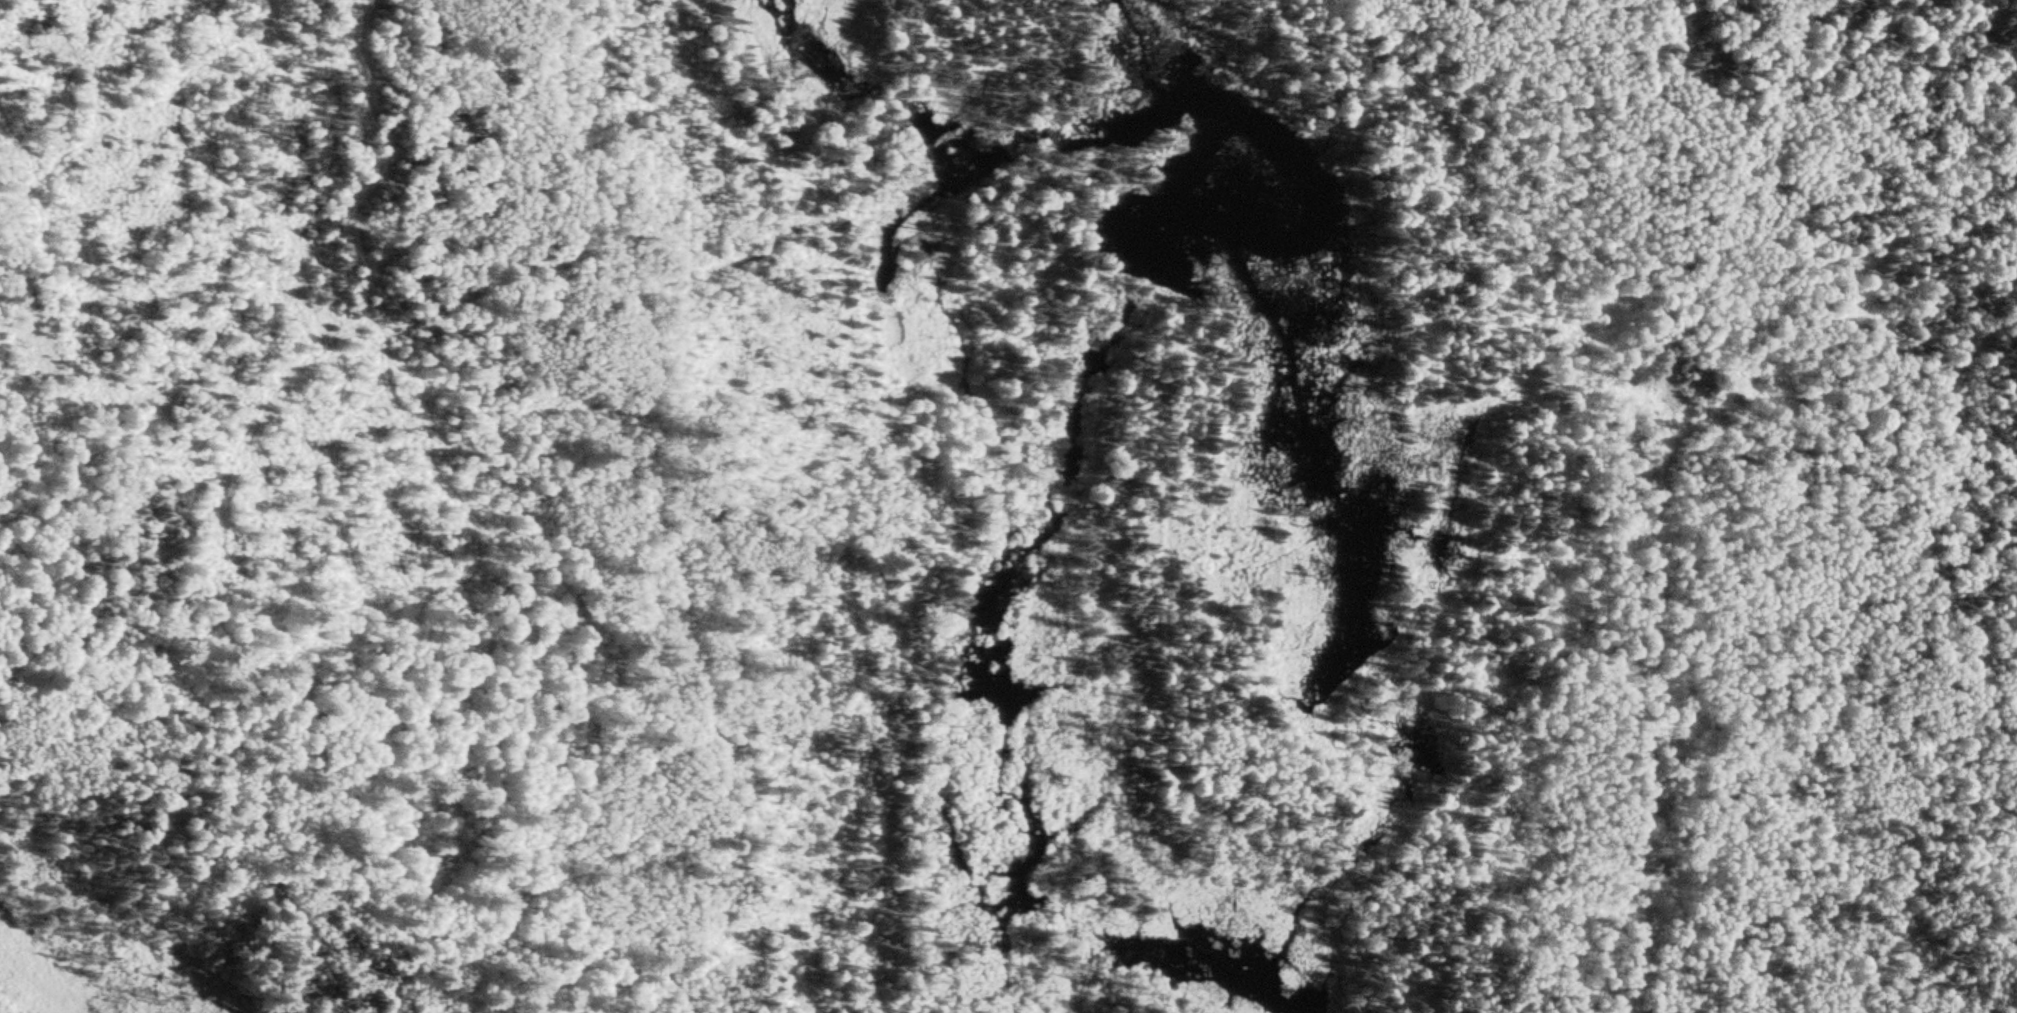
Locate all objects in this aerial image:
river: (909, 134)
river: (990, 664)
river: (1241, 973)

